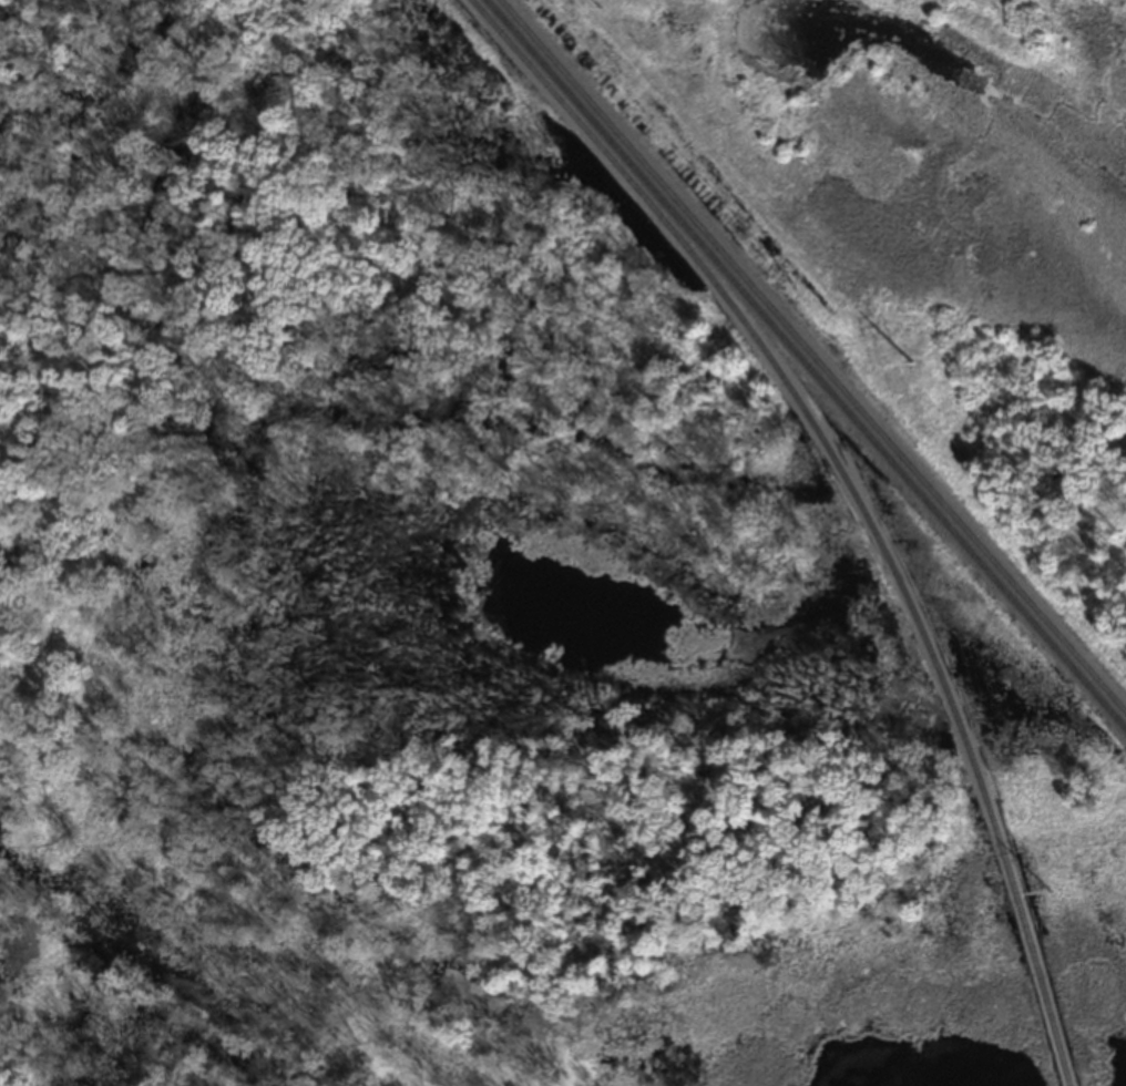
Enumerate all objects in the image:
power tower: (601, 17)
railway: (809, 360)
railway: (801, 369)
power tower: (912, 371)
railway: (850, 495)
power tower: (1050, 901)

